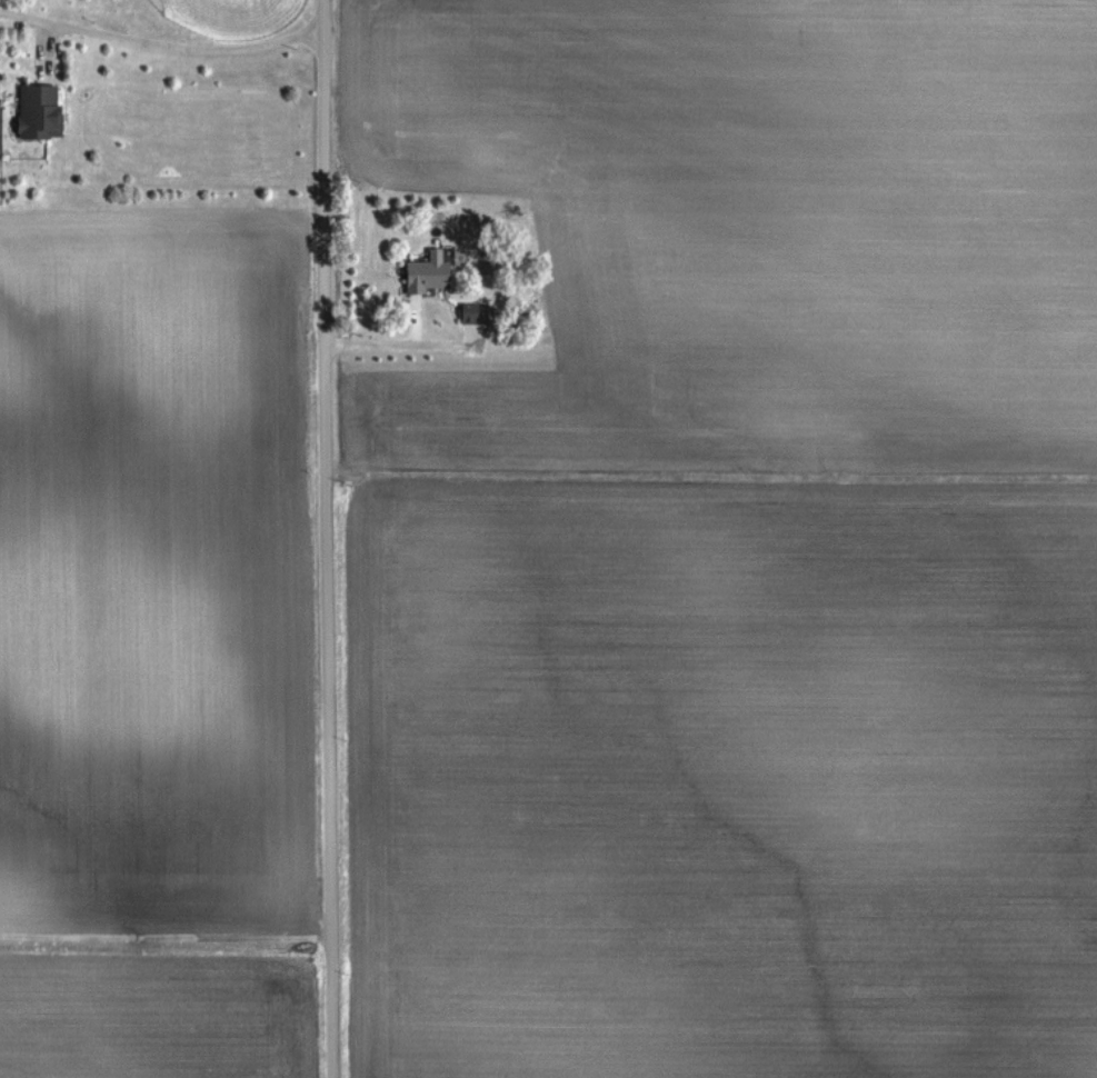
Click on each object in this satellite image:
road: (161, 40)
building: (39, 113)
building: (428, 275)
building: (473, 315)
road: (327, 538)

